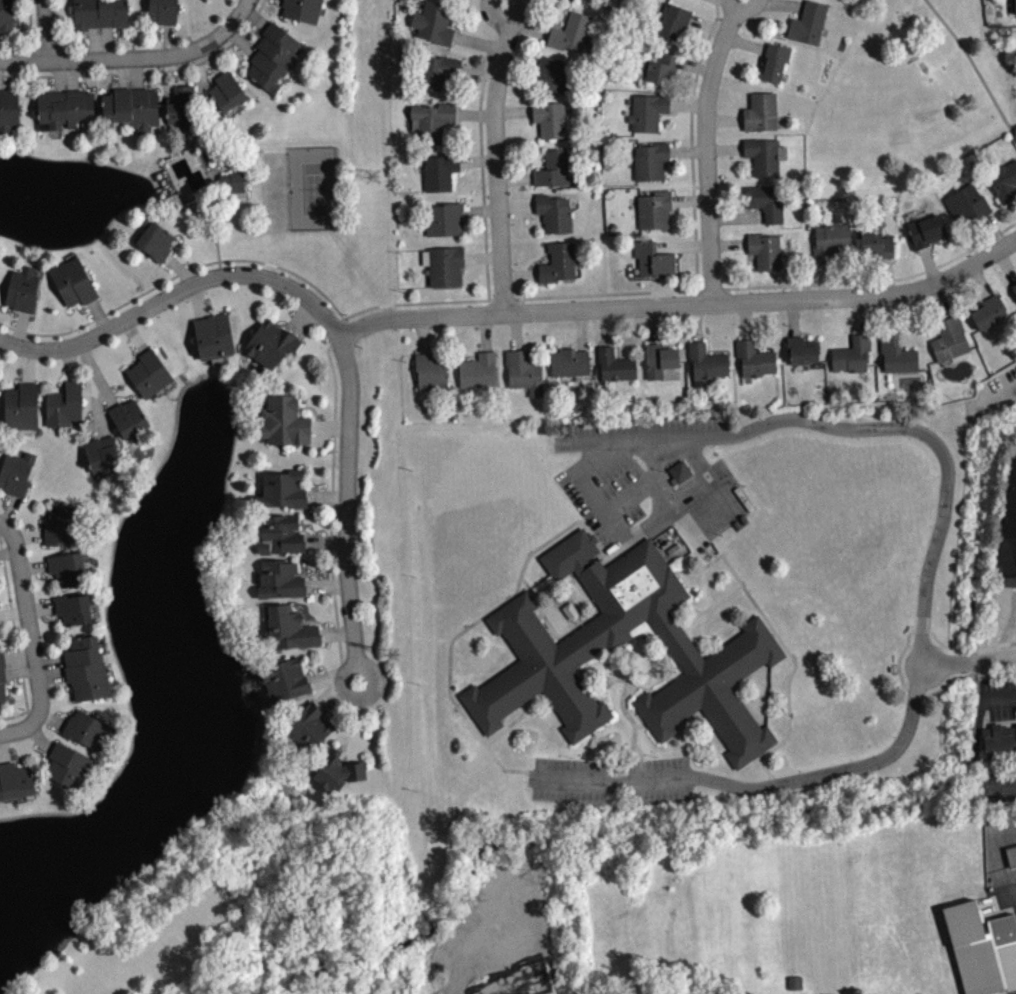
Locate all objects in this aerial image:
building: (568, 0)
building: (684, 0)
road: (501, 1)
road: (502, 1)
road: (503, 1)
road: (505, 1)
road: (782, 3)
building: (1013, 5)
road: (243, 7)
building: (302, 9)
building: (163, 11)
building: (99, 13)
building: (6, 15)
park: (904, 17)
building: (673, 20)
building: (433, 22)
building: (808, 22)
road: (708, 24)
road: (528, 27)
road: (29, 30)
road: (43, 30)
building: (571, 33)
road: (167, 40)
road: (477, 41)
road: (107, 42)
road: (744, 42)
road: (93, 43)
building: (273, 56)
road: (520, 56)
road: (125, 58)
road: (212, 58)
building: (774, 60)
road: (693, 66)
building: (655, 67)
road: (974, 67)
road: (182, 68)
road: (478, 69)
building: (437, 70)
road: (145, 71)
road: (137, 72)
road: (122, 73)
road: (72, 74)
building: (554, 74)
road: (59, 75)
building: (226, 90)
park: (909, 100)
road: (687, 104)
building: (180, 106)
building: (65, 108)
building: (132, 108)
road: (513, 110)
building: (8, 111)
building: (647, 111)
building: (760, 111)
road: (210, 112)
road: (474, 113)
building: (550, 118)
road: (724, 118)
building: (432, 120)
road: (690, 141)
road: (724, 147)
road: (706, 148)
road: (687, 150)
road: (495, 156)
building: (764, 156)
building: (649, 160)
road: (477, 161)
road: (233, 165)
building: (553, 168)
building: (440, 170)
road: (481, 171)
road: (515, 177)
power tower: (374, 178)
building: (1003, 180)
building: (233, 181)
park: (317, 185)
park: (285, 186)
road: (689, 199)
building: (765, 201)
building: (966, 203)
road: (211, 204)
road: (1013, 204)
road: (516, 205)
road: (480, 209)
building: (653, 209)
building: (554, 212)
road: (736, 217)
building: (443, 218)
building: (925, 229)
road: (994, 229)
building: (156, 237)
building: (831, 240)
building: (875, 242)
road: (728, 243)
road: (682, 245)
building: (766, 249)
road: (481, 256)
building: (652, 259)
building: (558, 261)
road: (928, 263)
building: (443, 264)
road: (1006, 264)
road: (181, 268)
road: (520, 274)
road: (886, 274)
road: (823, 278)
road: (876, 279)
building: (74, 280)
road: (980, 280)
building: (23, 287)
building: (1013, 287)
road: (710, 288)
road: (605, 292)
road: (174, 293)
road: (501, 298)
road: (197, 300)
road: (939, 300)
road: (683, 303)
road: (112, 309)
road: (887, 312)
building: (988, 312)
road: (99, 314)
road: (858, 314)
road: (299, 315)
road: (344, 316)
road: (792, 316)
road: (343, 317)
road: (745, 319)
road: (694, 322)
road: (651, 324)
road: (604, 326)
road: (19, 327)
road: (581, 329)
road: (515, 330)
road: (485, 332)
building: (215, 333)
road: (135, 334)
road: (421, 334)
building: (949, 338)
building: (271, 340)
road: (335, 343)
building: (801, 349)
building: (896, 353)
building: (852, 354)
building: (659, 358)
building: (753, 358)
building: (569, 361)
road: (71, 362)
building: (705, 362)
road: (29, 364)
building: (615, 364)
building: (477, 369)
building: (523, 370)
building: (150, 371)
building: (430, 371)
road: (97, 372)
building: (64, 403)
building: (22, 404)
road: (97, 406)
building: (129, 415)
building: (283, 420)
road: (330, 424)
road: (862, 427)
building: (104, 452)
road: (698, 455)
road: (655, 458)
building: (680, 469)
building: (17, 471)
parking lot: (648, 476)
building: (682, 478)
road: (641, 487)
building: (281, 489)
road: (326, 496)
road: (347, 507)
road: (10, 510)
road: (330, 516)
building: (64, 524)
road: (2, 526)
building: (1008, 531)
building: (280, 534)
road: (29, 535)
road: (325, 540)
road: (547, 540)
building: (69, 565)
road: (34, 566)
road: (736, 576)
building: (280, 579)
road: (527, 583)
road: (327, 584)
building: (74, 606)
road: (41, 608)
building: (288, 626)
building: (0, 628)
road: (29, 628)
road: (336, 631)
building: (562, 646)
road: (638, 653)
road: (19, 654)
power tower: (394, 656)
road: (970, 659)
road: (51, 661)
road: (898, 661)
building: (87, 667)
road: (20, 669)
road: (791, 671)
road: (51, 674)
road: (333, 674)
building: (2, 676)
building: (286, 678)
road: (634, 680)
road: (336, 688)
road: (51, 718)
road: (360, 721)
building: (309, 726)
building: (89, 727)
road: (472, 727)
road: (12, 729)
road: (38, 738)
road: (488, 740)
building: (999, 740)
road: (588, 744)
road: (635, 746)
building: (69, 762)
building: (337, 770)
road: (768, 770)
building: (15, 780)
parking lot: (611, 780)
road: (765, 786)
building: (1011, 854)
building: (982, 947)
building: (798, 989)

